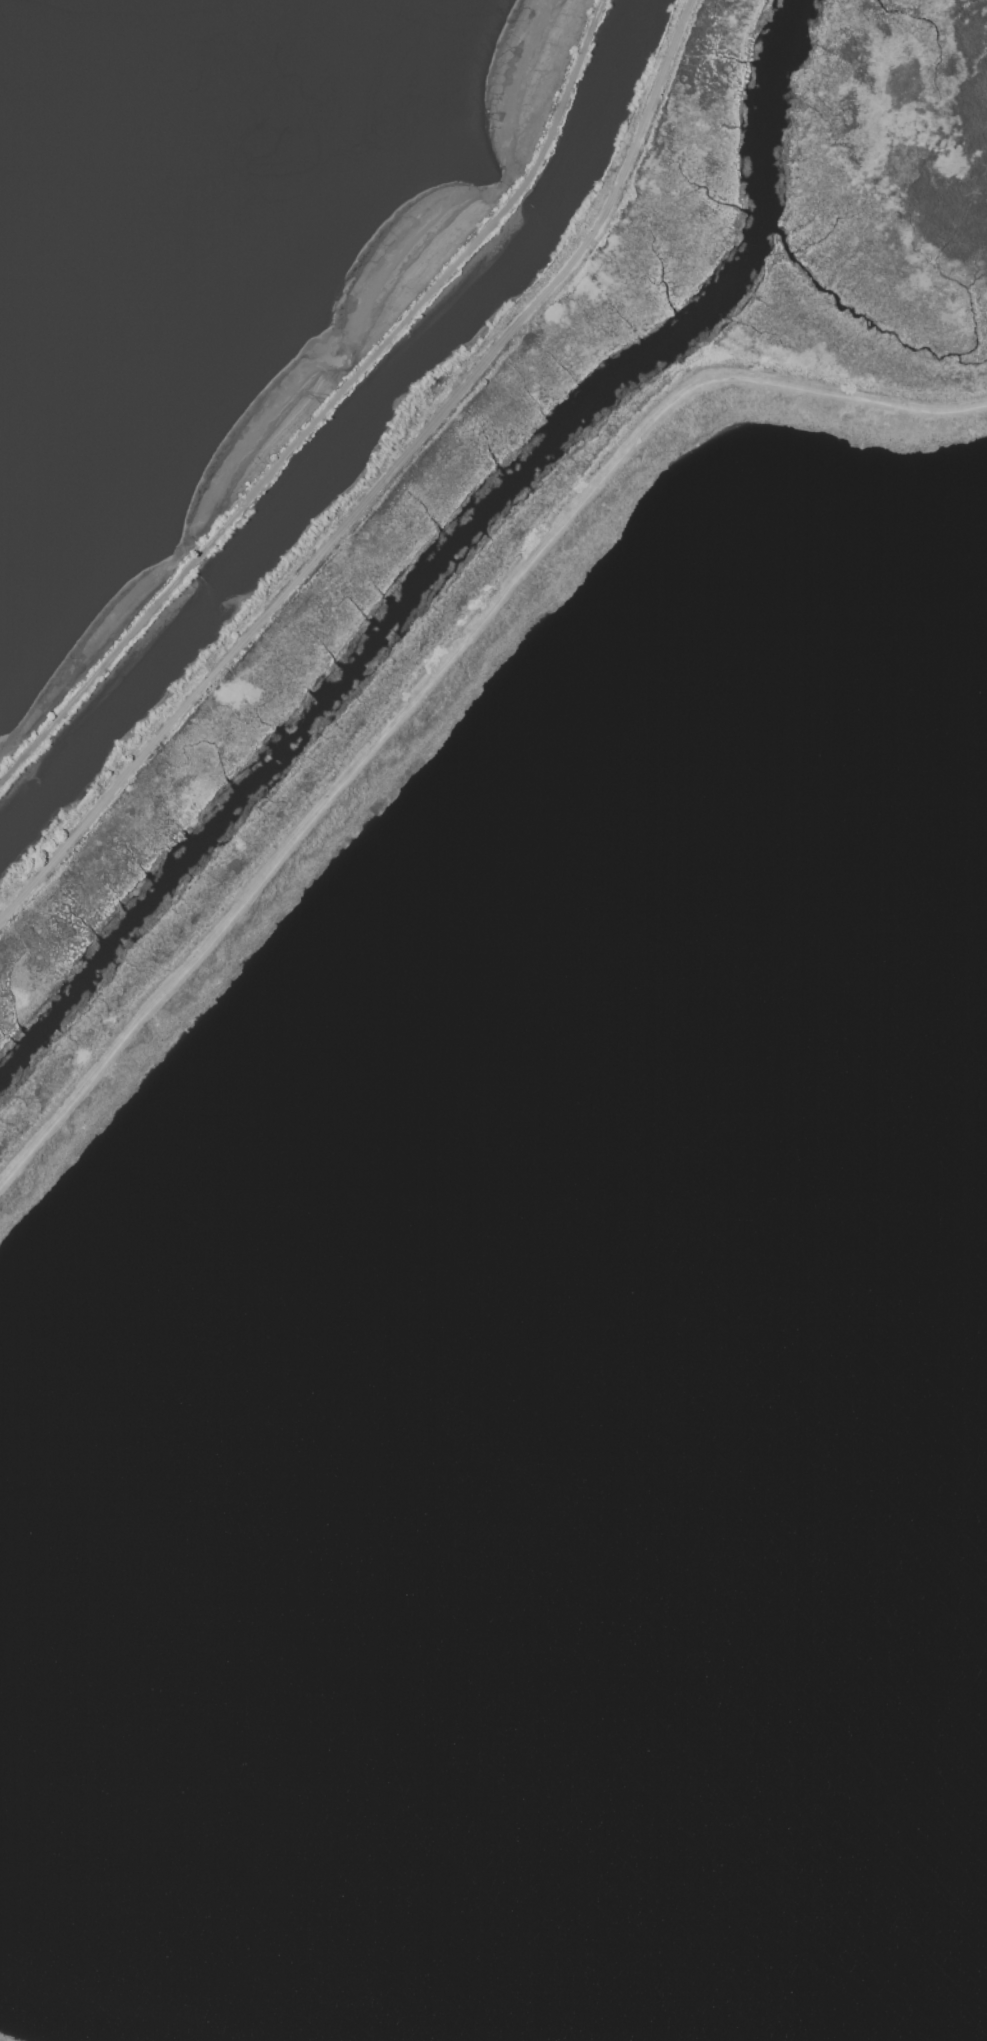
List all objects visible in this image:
road: (329, 407)
road: (384, 488)
road: (439, 669)

